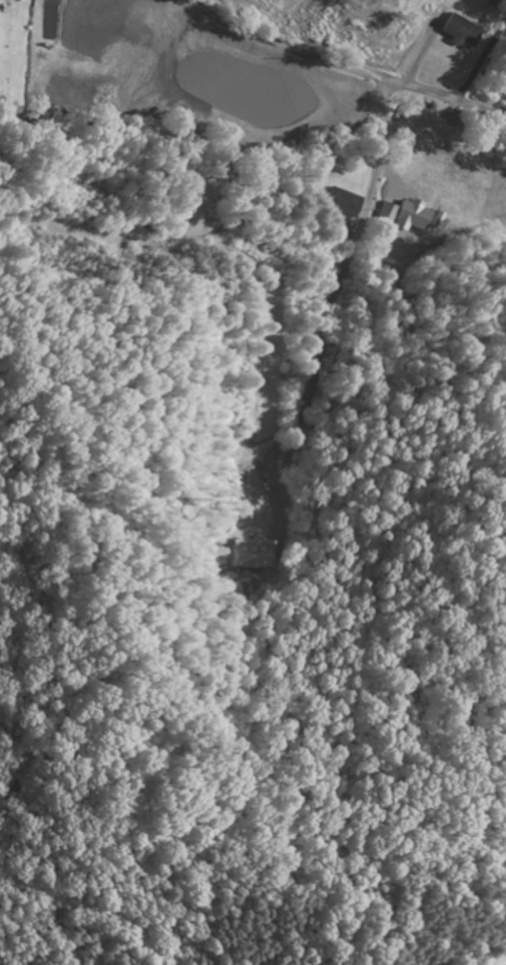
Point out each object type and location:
building: (460, 33)
road: (345, 66)
building: (338, 204)
building: (411, 216)

